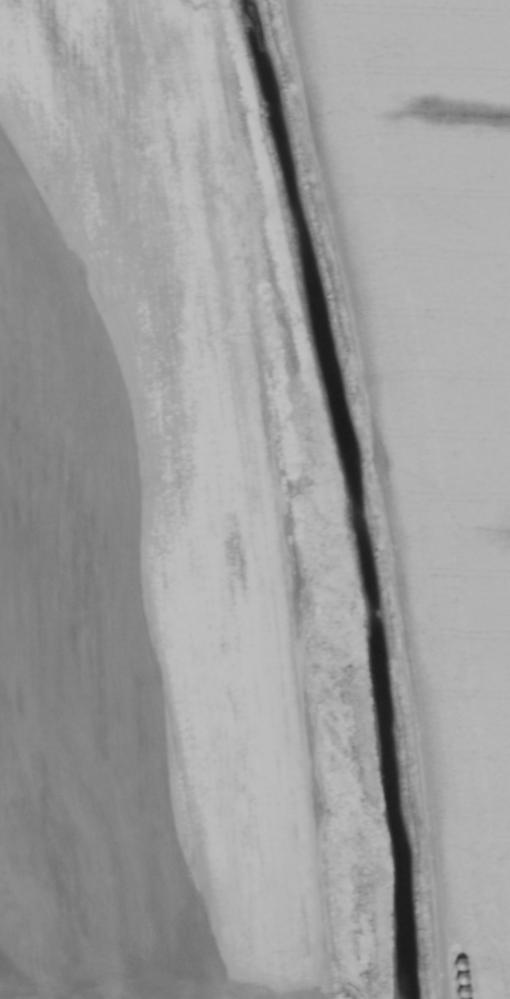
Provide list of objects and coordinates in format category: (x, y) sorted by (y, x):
road: (362, 497)

